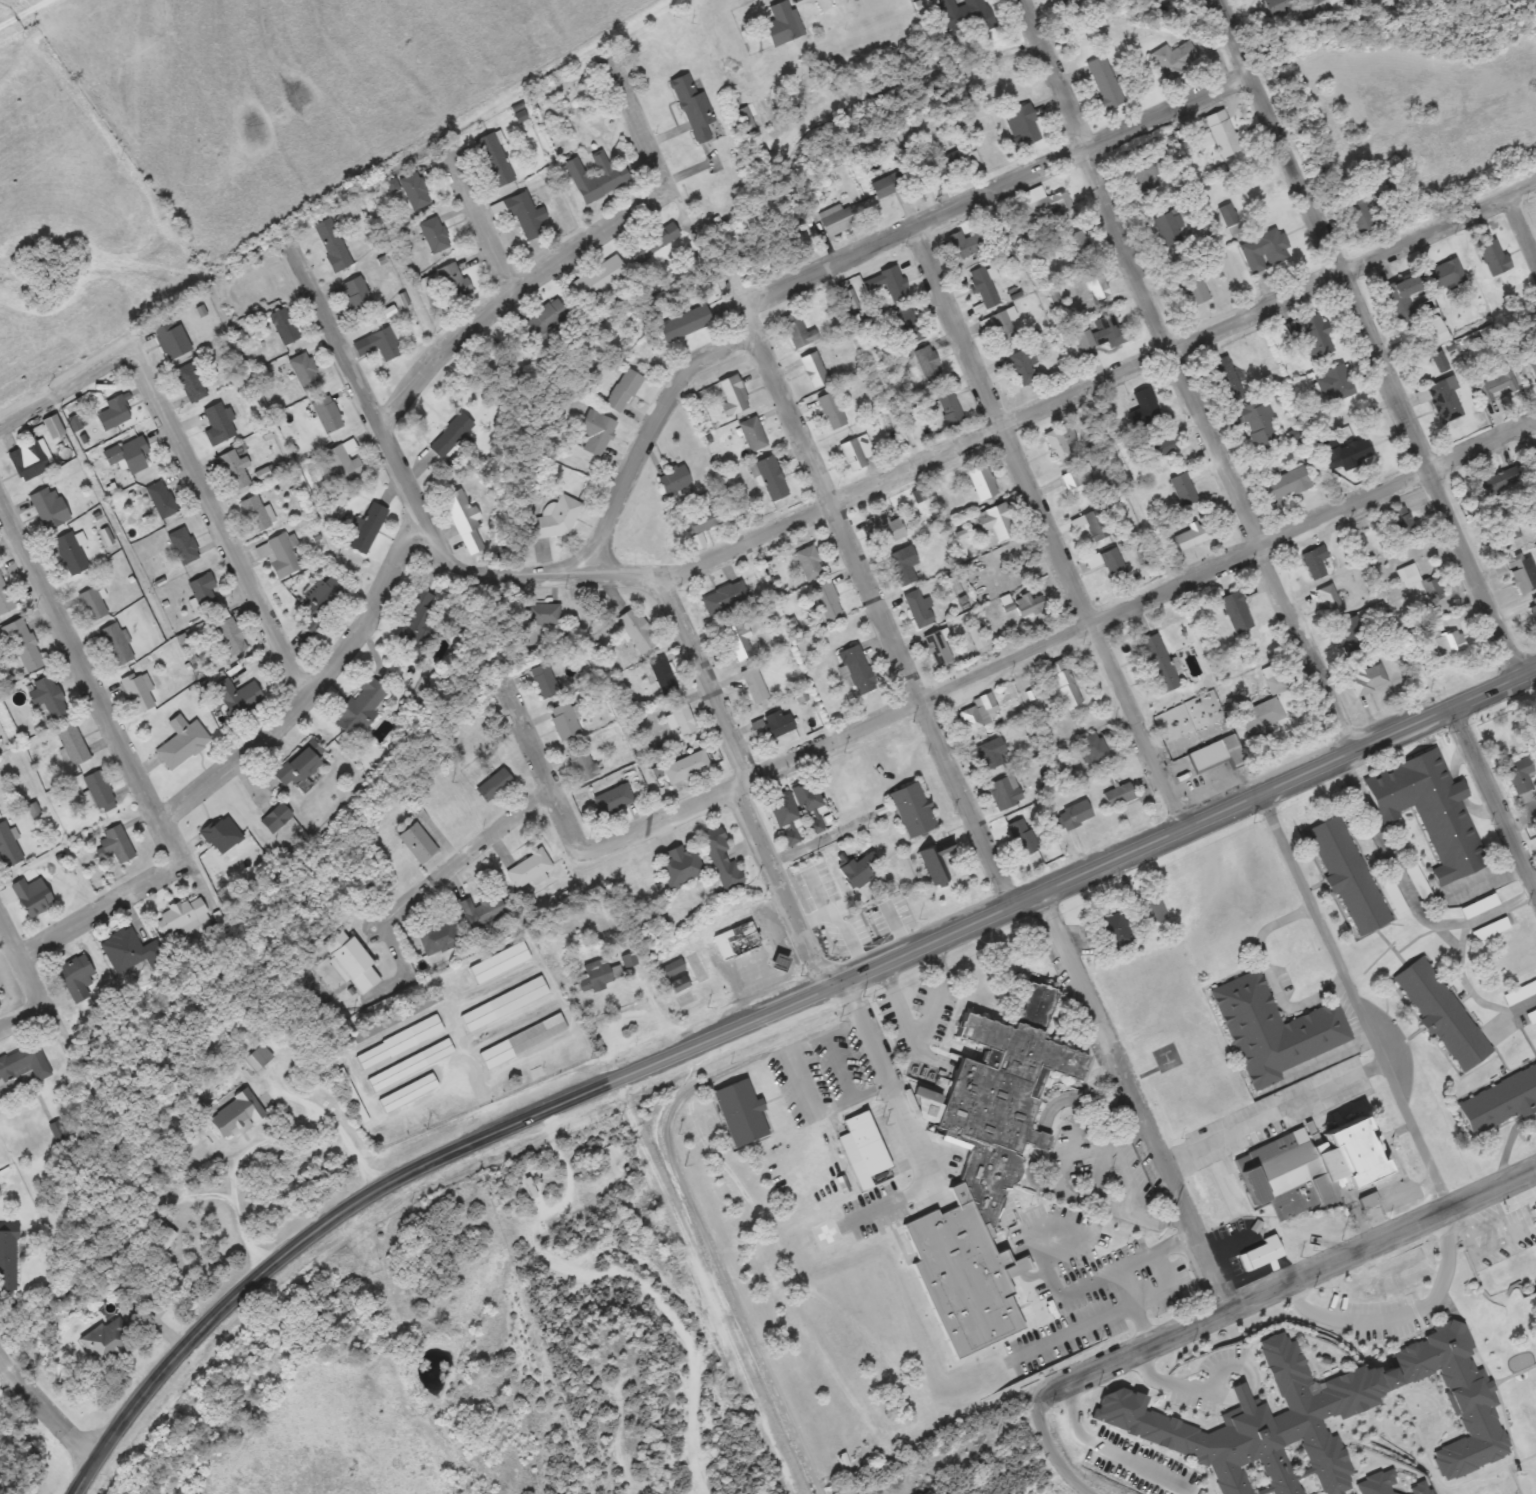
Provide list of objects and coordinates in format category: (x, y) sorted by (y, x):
building: (1149, 0)
building: (1061, 1)
road: (22, 12)
building: (962, 16)
building: (783, 24)
building: (1175, 59)
building: (1104, 83)
building: (694, 108)
building: (1022, 126)
building: (1220, 134)
road: (646, 142)
building: (494, 160)
building: (946, 165)
building: (1136, 171)
building: (597, 177)
building: (888, 184)
building: (415, 190)
road: (996, 192)
building: (1051, 207)
building: (1359, 213)
building: (526, 214)
building: (837, 219)
road: (480, 227)
building: (1171, 229)
building: (433, 232)
building: (655, 241)
building: (332, 244)
building: (966, 244)
road: (1517, 245)
building: (1081, 246)
building: (1264, 251)
building: (1494, 257)
building: (1445, 274)
building: (455, 280)
building: (603, 280)
building: (894, 282)
building: (871, 283)
building: (984, 287)
building: (1194, 287)
building: (1099, 288)
building: (357, 294)
building: (1402, 296)
road: (513, 298)
building: (542, 321)
building: (686, 323)
building: (910, 324)
building: (284, 326)
building: (1005, 326)
building: (795, 330)
building: (1435, 331)
building: (1101, 334)
building: (1311, 335)
road: (343, 337)
road: (1362, 337)
building: (173, 341)
building: (379, 344)
building: (929, 363)
building: (1025, 367)
building: (1533, 368)
building: (814, 369)
building: (305, 371)
road: (1177, 375)
road: (100, 377)
building: (1226, 380)
building: (191, 382)
building: (1334, 383)
building: (1496, 384)
building: (624, 390)
building: (733, 396)
building: (1443, 400)
building: (949, 406)
building: (1144, 407)
building: (831, 410)
building: (115, 413)
building: (327, 414)
road: (37, 416)
building: (1256, 422)
building: (219, 424)
building: (53, 426)
building: (596, 432)
road: (645, 433)
building: (753, 434)
building: (451, 435)
road: (986, 437)
building: (1061, 441)
building: (1159, 444)
building: (856, 452)
building: (129, 454)
building: (1347, 454)
building: (29, 460)
building: (343, 464)
building: (235, 469)
road: (401, 471)
building: (772, 478)
building: (675, 480)
building: (1078, 480)
building: (982, 481)
building: (1286, 484)
building: (1499, 488)
building: (1183, 489)
building: (161, 499)
building: (50, 508)
building: (255, 513)
building: (703, 521)
building: (464, 522)
building: (554, 522)
building: (998, 522)
building: (1399, 522)
building: (1098, 524)
building: (368, 527)
building: (887, 528)
road: (1046, 529)
building: (1504, 531)
road: (217, 535)
building: (1193, 536)
building: (184, 545)
building: (70, 553)
building: (279, 555)
building: (809, 562)
building: (1314, 562)
building: (1114, 564)
building: (902, 565)
building: (1522, 573)
building: (1419, 582)
building: (203, 589)
road: (1140, 594)
building: (724, 597)
building: (5, 598)
building: (1329, 600)
building: (828, 601)
building: (318, 603)
road: (875, 603)
building: (92, 604)
building: (1028, 604)
building: (920, 609)
building: (1237, 612)
building: (541, 614)
building: (418, 621)
building: (636, 631)
building: (232, 636)
building: (1350, 636)
building: (978, 640)
building: (739, 641)
building: (1451, 642)
building: (116, 644)
building: (24, 645)
building: (937, 648)
building: (1157, 664)
building: (858, 669)
building: (663, 676)
road: (704, 676)
building: (1273, 679)
building: (1367, 679)
building: (544, 680)
building: (1063, 683)
road: (91, 684)
building: (754, 684)
building: (137, 692)
building: (48, 696)
building: (239, 697)
road: (321, 698)
building: (360, 707)
building: (980, 712)
building: (1261, 716)
building: (682, 717)
building: (564, 721)
building: (778, 723)
building: (182, 742)
building: (73, 743)
building: (1092, 749)
road: (534, 751)
building: (990, 753)
building: (1216, 754)
building: (299, 764)
building: (582, 765)
building: (686, 767)
building: (1518, 773)
road: (737, 780)
building: (98, 788)
building: (1004, 792)
building: (1119, 795)
building: (808, 796)
building: (613, 800)
road: (1489, 803)
building: (783, 809)
building: (914, 810)
building: (1430, 811)
building: (1074, 815)
building: (277, 817)
road: (1182, 823)
building: (816, 826)
road: (625, 837)
building: (1023, 837)
building: (418, 842)
building: (115, 844)
building: (8, 847)
building: (721, 858)
road: (463, 862)
building: (937, 862)
building: (681, 867)
building: (528, 868)
building: (859, 870)
building: (1347, 873)
road: (779, 885)
building: (32, 896)
building: (483, 910)
building: (185, 914)
road: (103, 915)
building: (1115, 932)
building: (439, 937)
road: (11, 938)
building: (742, 939)
building: (129, 952)
building: (353, 962)
building: (500, 962)
building: (596, 976)
building: (77, 978)
road: (33, 986)
road: (1352, 1000)
building: (504, 1004)
building: (1442, 1014)
building: (1532, 1016)
building: (397, 1018)
road: (22, 1022)
building: (1274, 1030)
road: (52, 1031)
building: (523, 1041)
building: (400, 1042)
building: (259, 1058)
building: (24, 1063)
building: (411, 1065)
building: (538, 1074)
building: (409, 1092)
building: (353, 1097)
road: (1133, 1100)
building: (1500, 1101)
building: (741, 1113)
road: (1273, 1113)
building: (237, 1116)
road: (905, 1122)
road: (1072, 1148)
building: (863, 1149)
building: (1312, 1169)
building: (986, 1172)
road: (403, 1180)
building: (1368, 1199)
helipad: (826, 1233)
road: (1381, 1241)
building: (1261, 1254)
building: (8, 1259)
road: (1052, 1287)
road: (1133, 1308)
road: (1104, 1316)
building: (109, 1341)
road: (1130, 1353)
building: (1304, 1399)
road: (45, 1409)
road: (1050, 1451)
road: (1068, 1483)
building: (1393, 1487)

